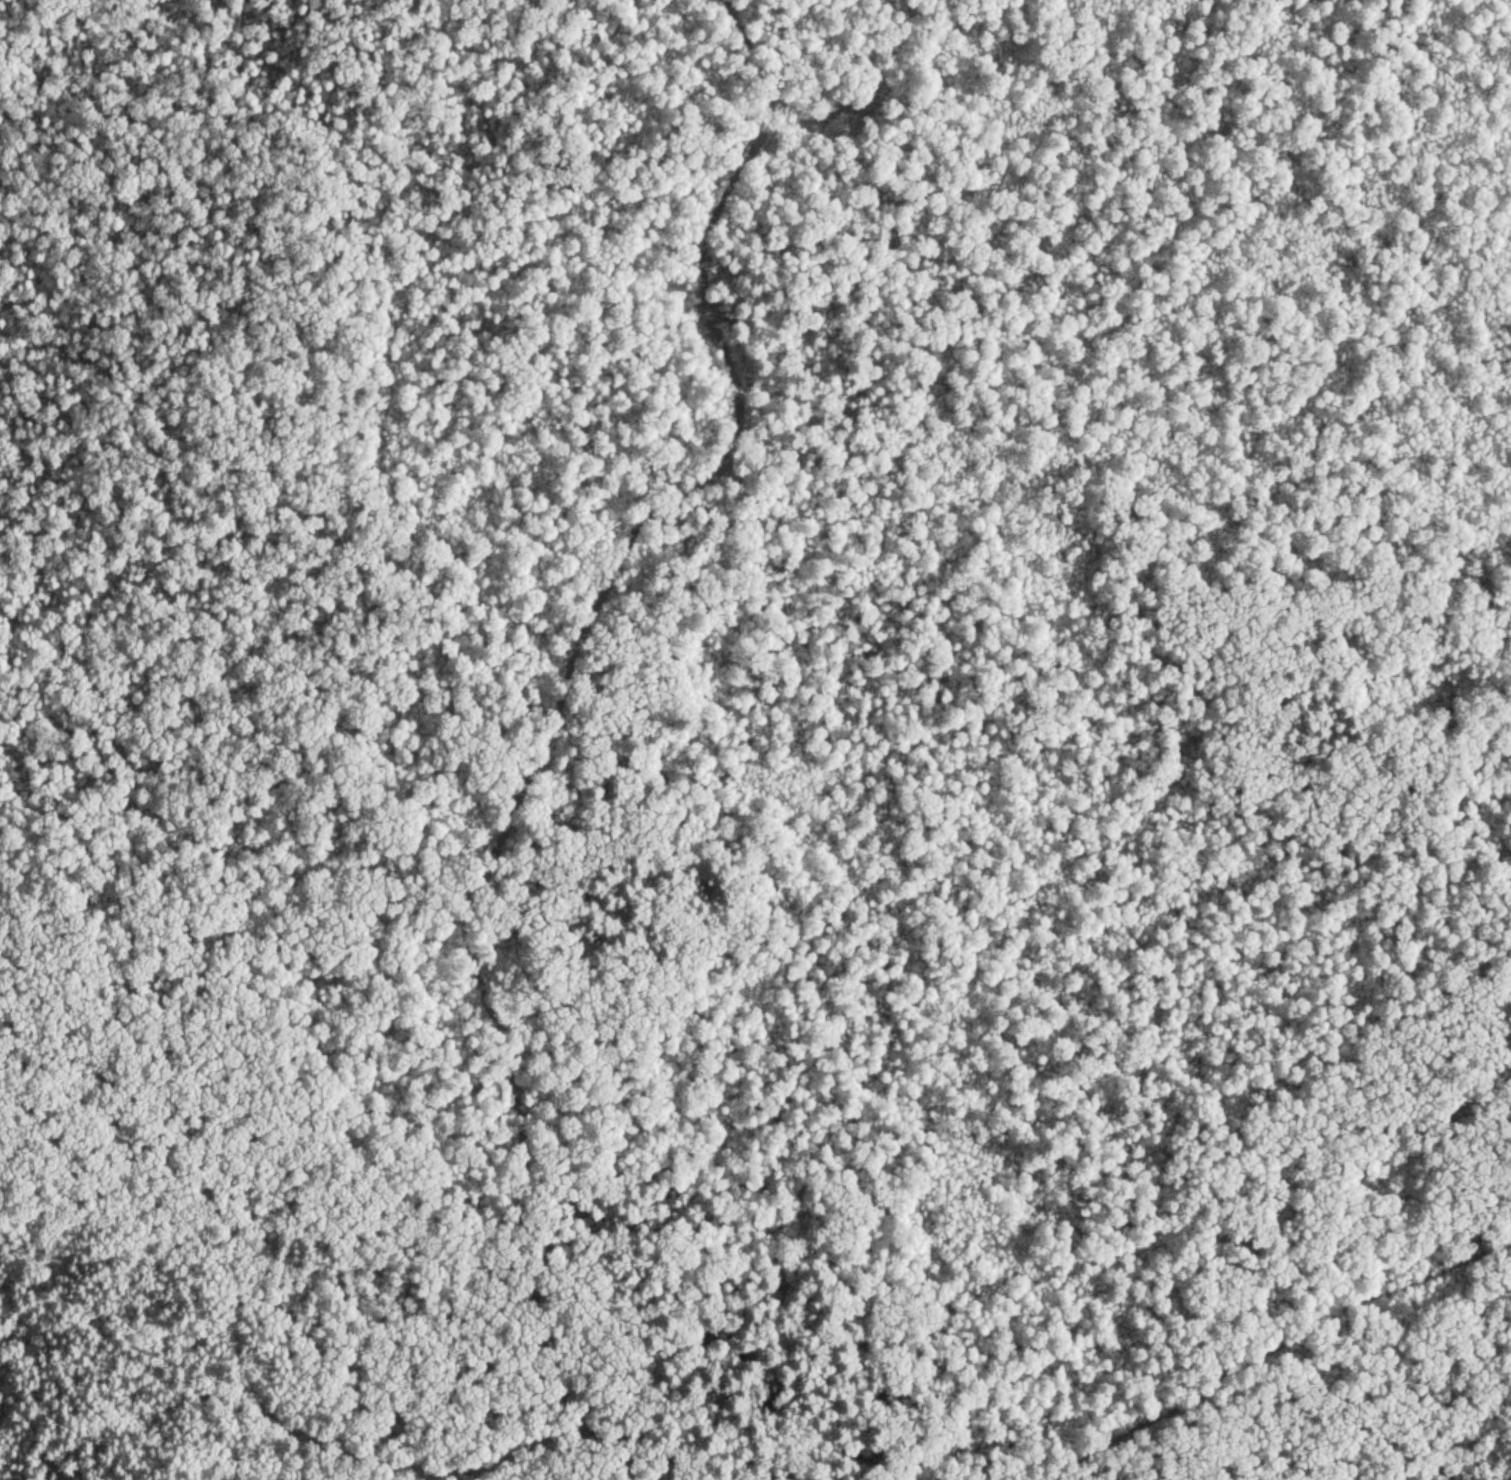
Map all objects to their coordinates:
road: (187, 1006)
road: (1233, 1374)

